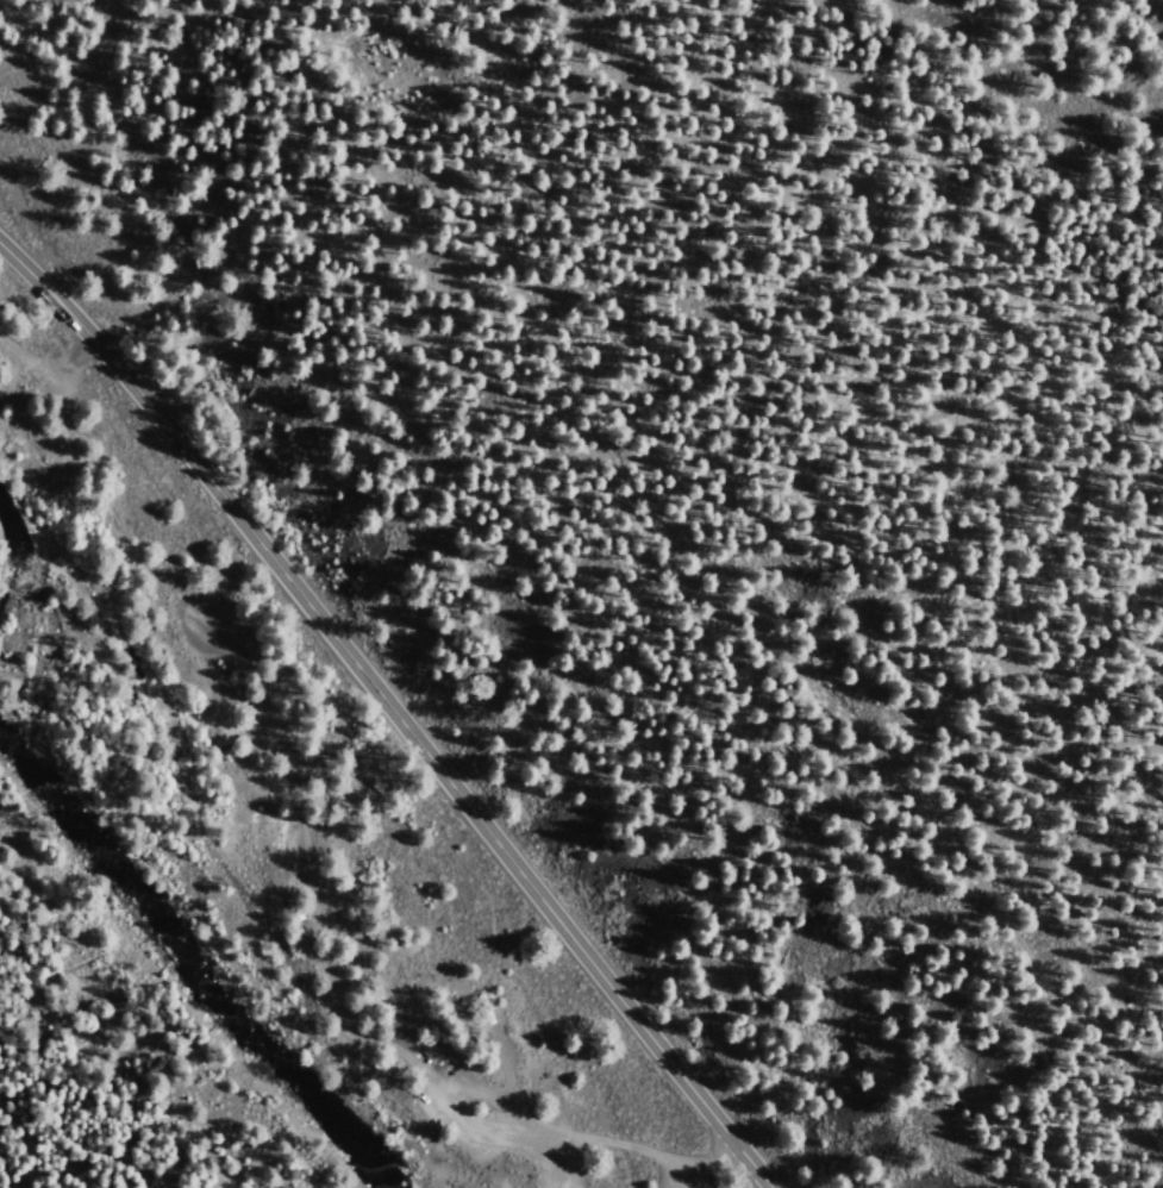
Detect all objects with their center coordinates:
river: (4, 552)
road: (742, 595)
road: (392, 709)
road: (290, 782)
river: (187, 968)
road: (504, 1109)
road: (425, 1130)
road: (682, 1183)

